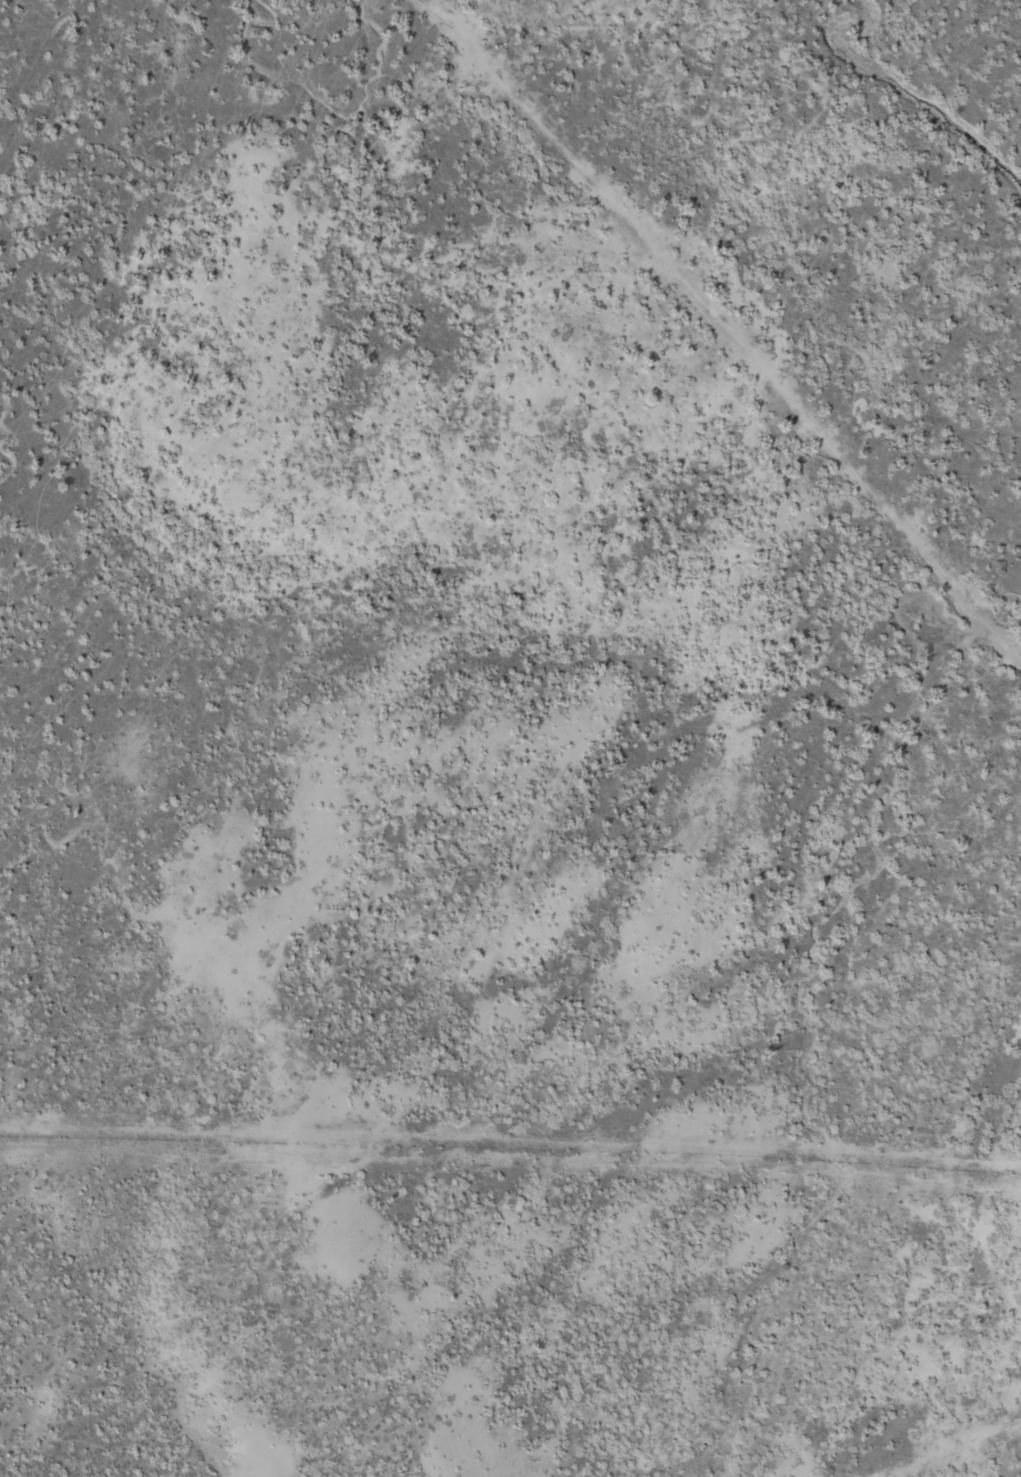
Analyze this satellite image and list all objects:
road: (725, 323)
road: (510, 1154)

